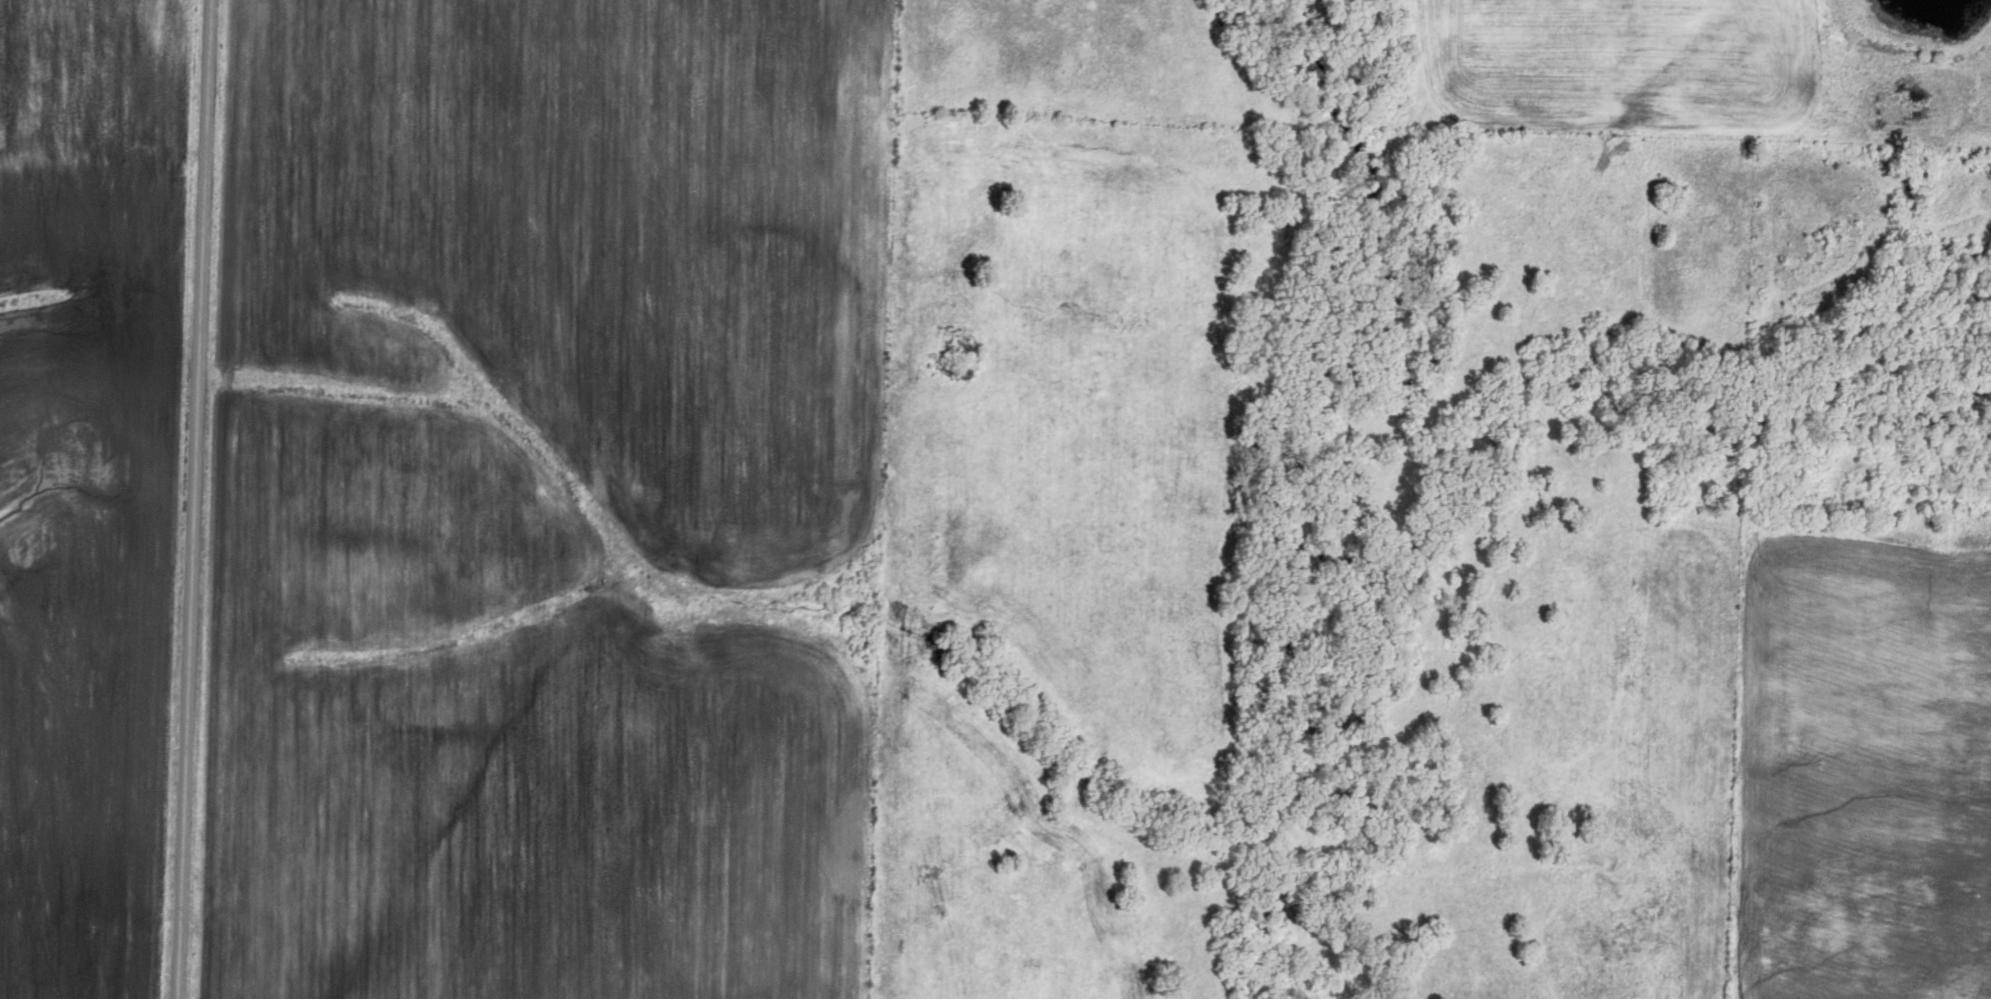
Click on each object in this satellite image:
building: (1986, 168)
road: (194, 499)

